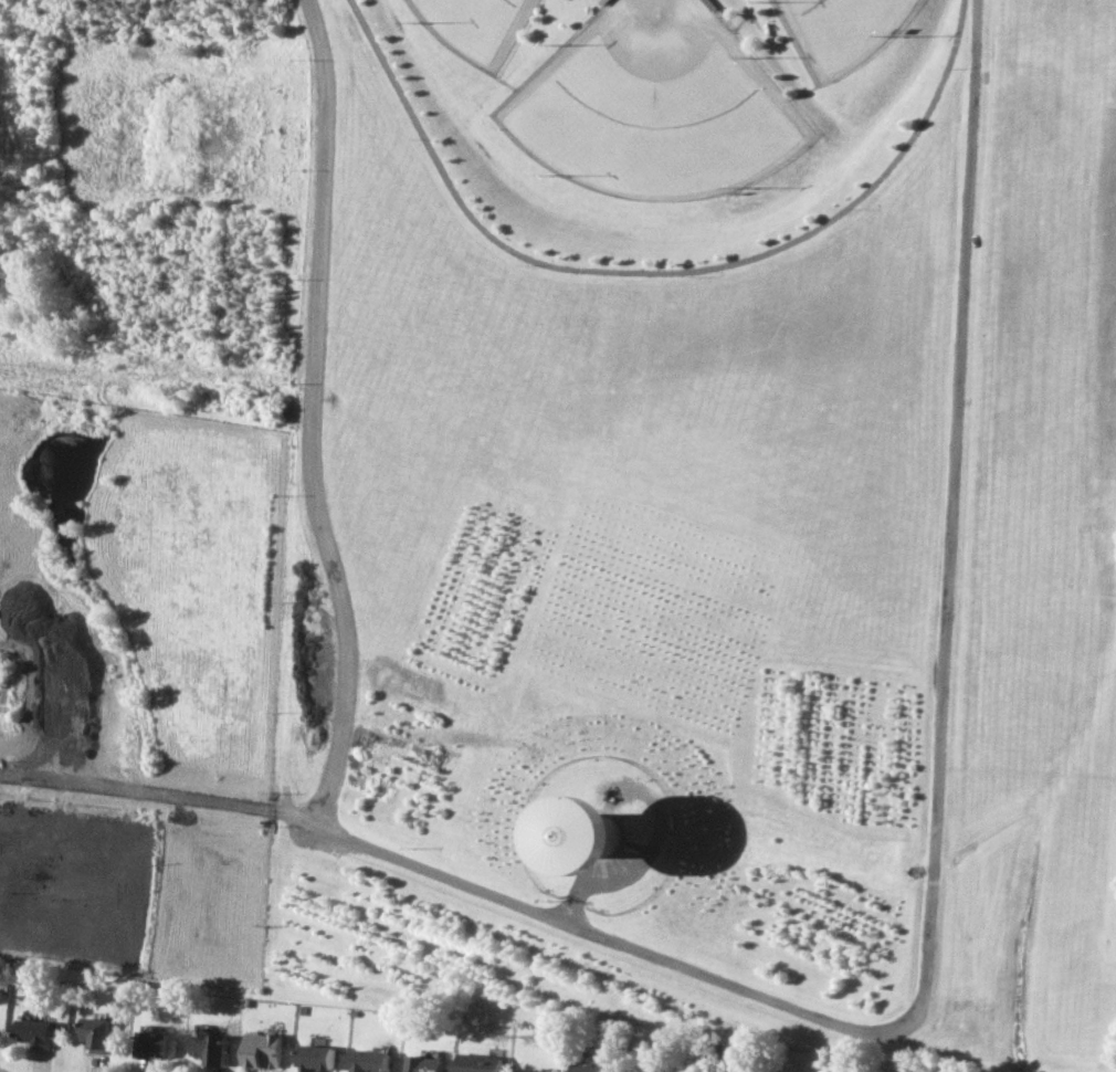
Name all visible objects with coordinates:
park: (480, 27)
park: (850, 31)
park: (657, 105)
road: (656, 273)
road: (312, 413)
road: (955, 511)
park: (699, 522)
road: (7, 774)
water tower: (600, 827)
building: (598, 834)
road: (473, 885)
railway: (319, 1026)
building: (35, 1031)
building: (97, 1032)
building: (157, 1044)
building: (212, 1047)
building: (265, 1049)
building: (318, 1058)
building: (372, 1061)
building: (481, 1062)
building: (427, 1063)
building: (592, 1065)
building: (530, 1071)

